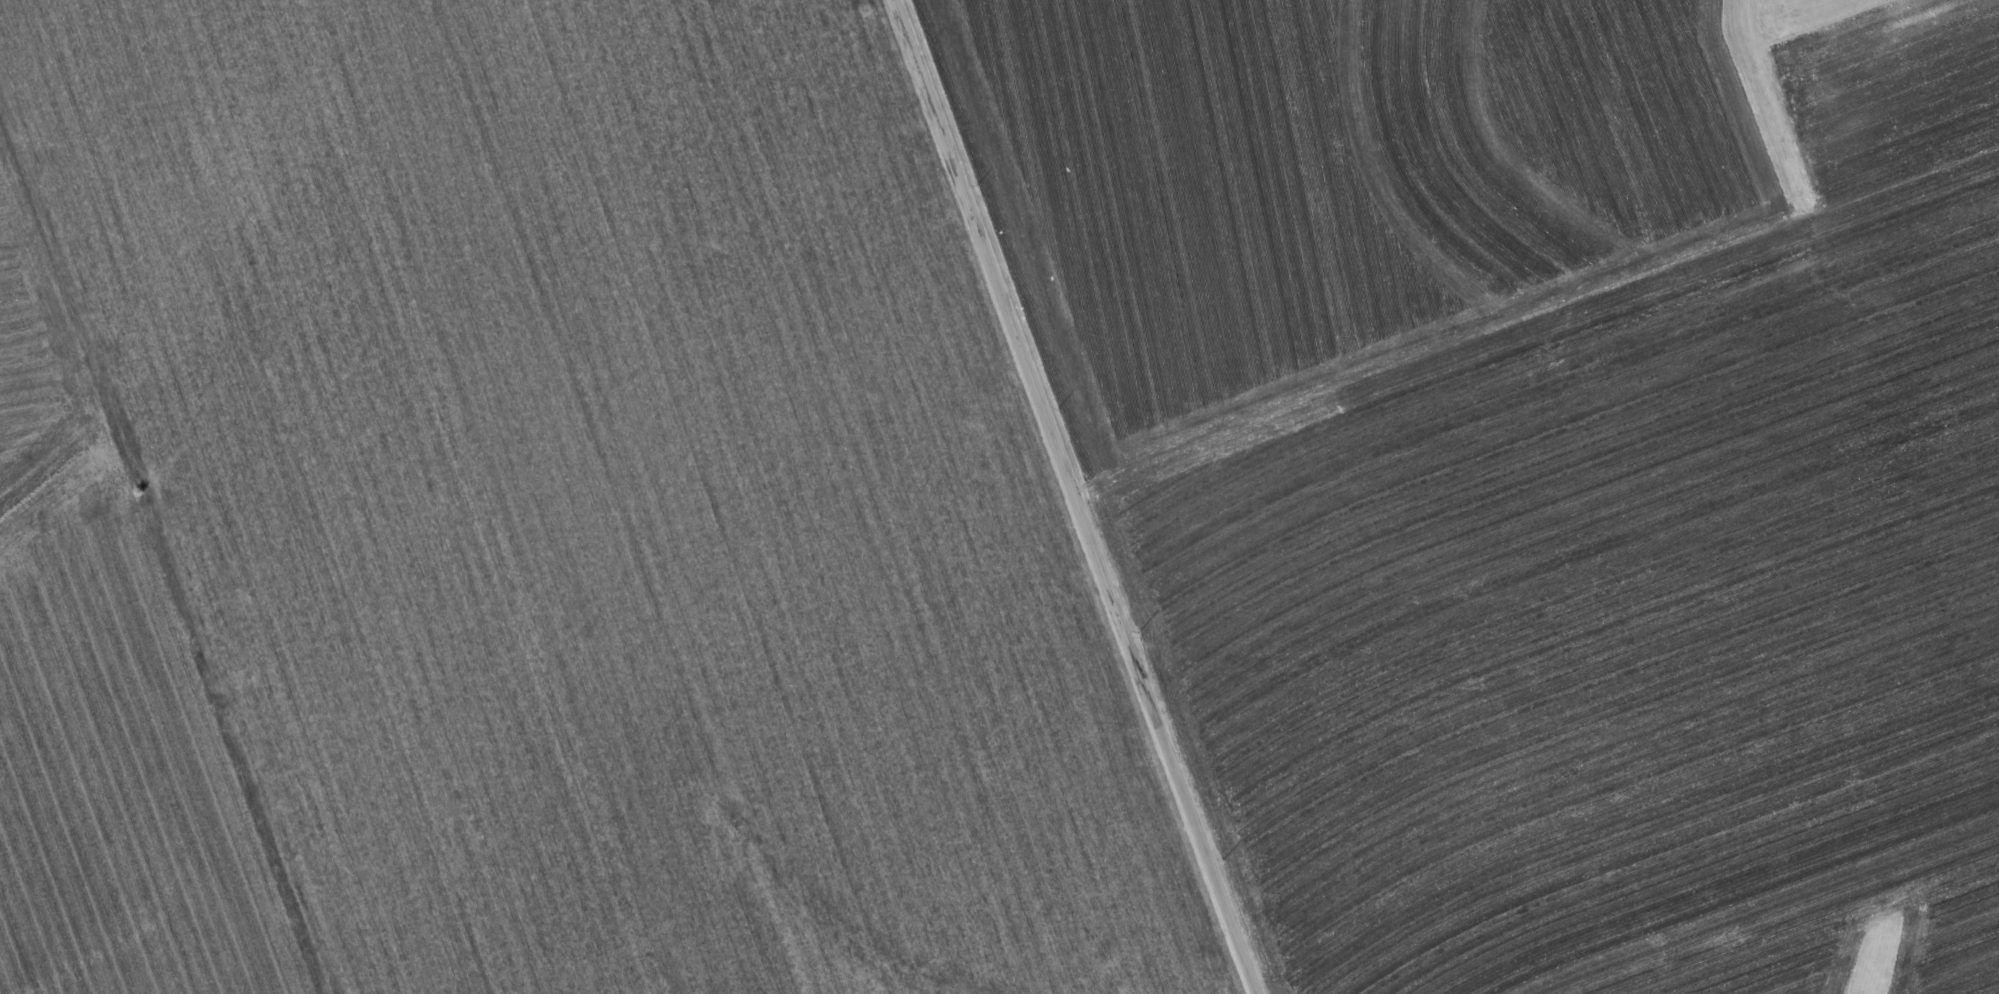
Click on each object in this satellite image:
road: (1072, 497)

